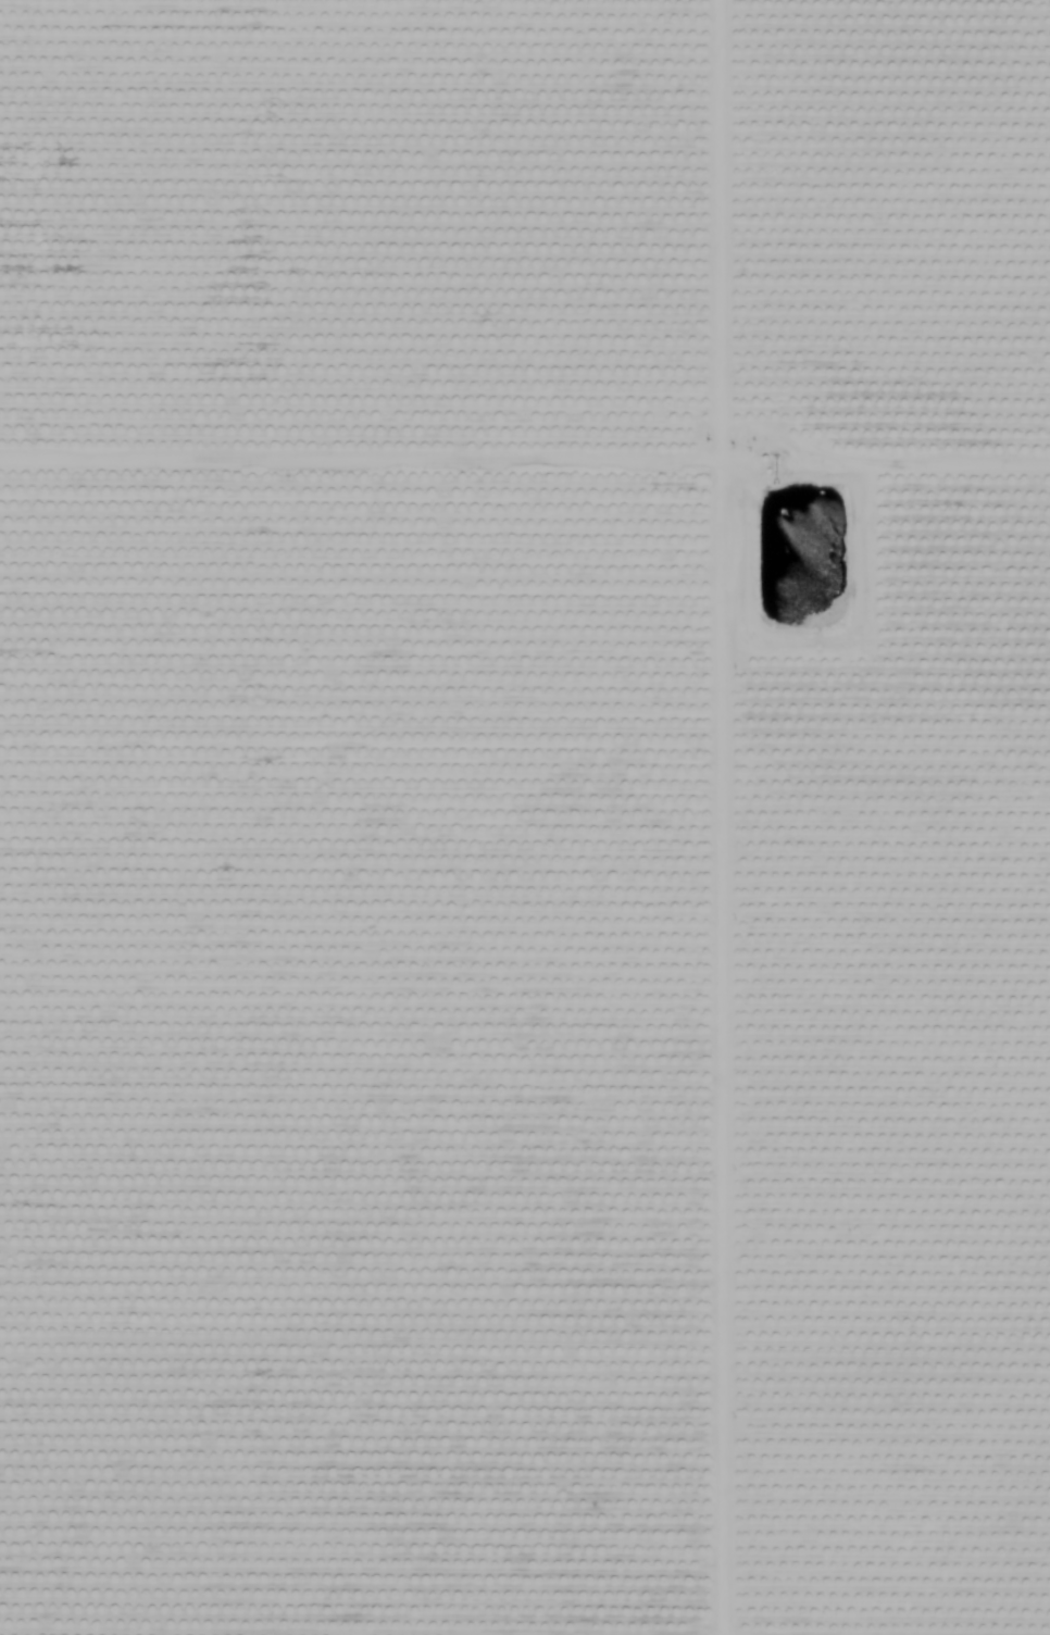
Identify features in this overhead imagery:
crop: (525, 818)
road: (698, 818)

